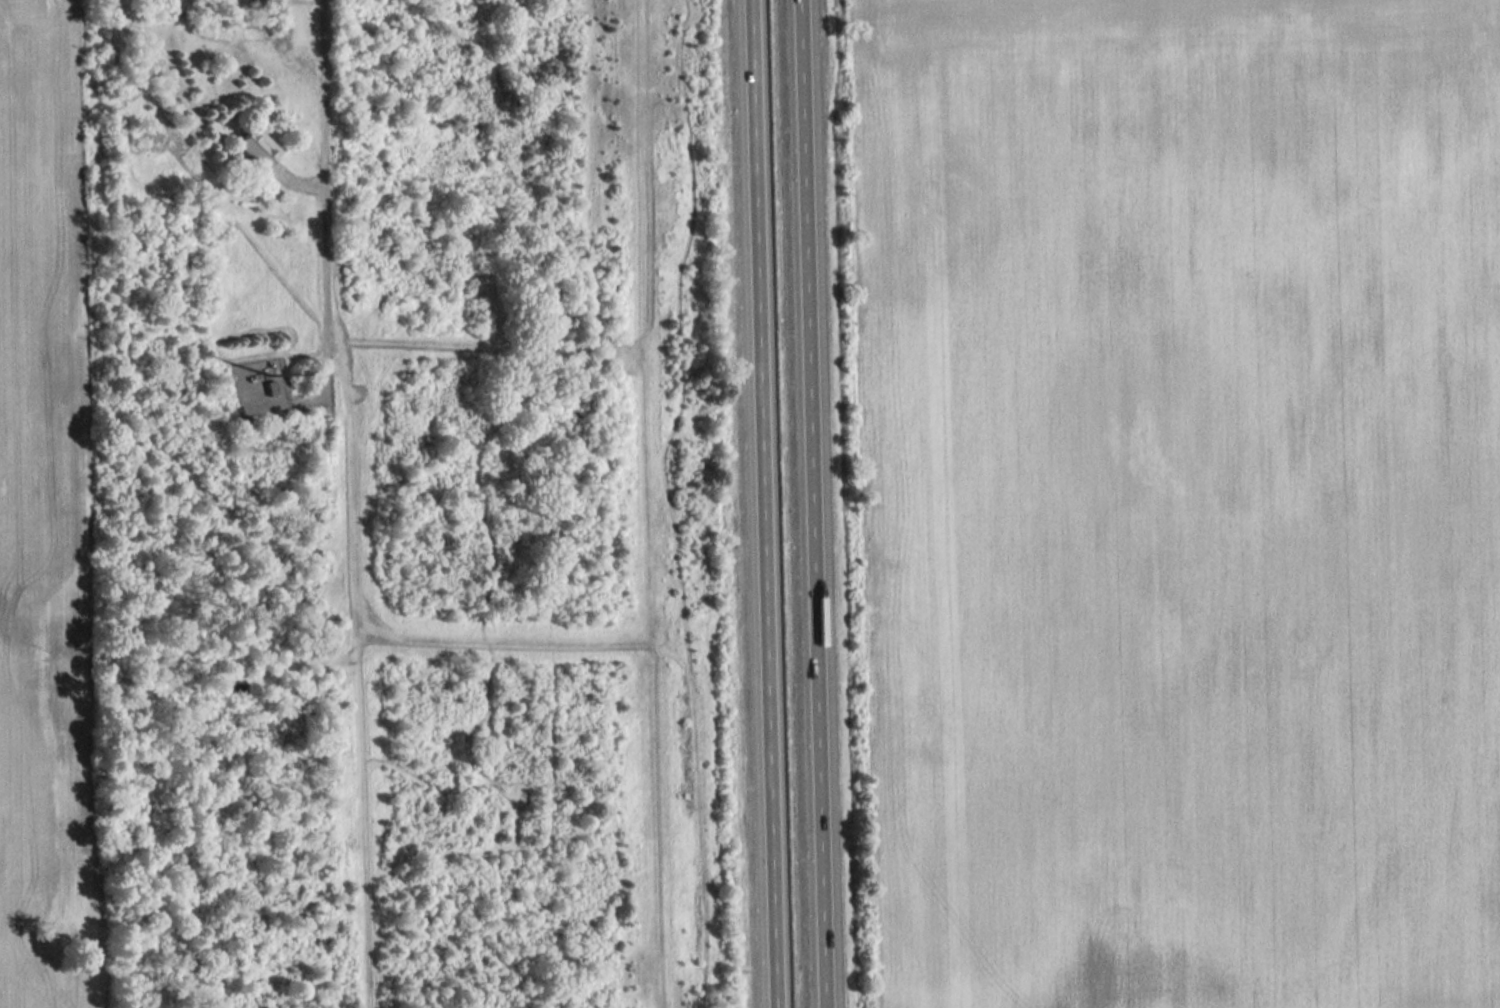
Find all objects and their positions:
building: (255, 146)
road: (330, 198)
road: (774, 504)
road: (830, 504)

